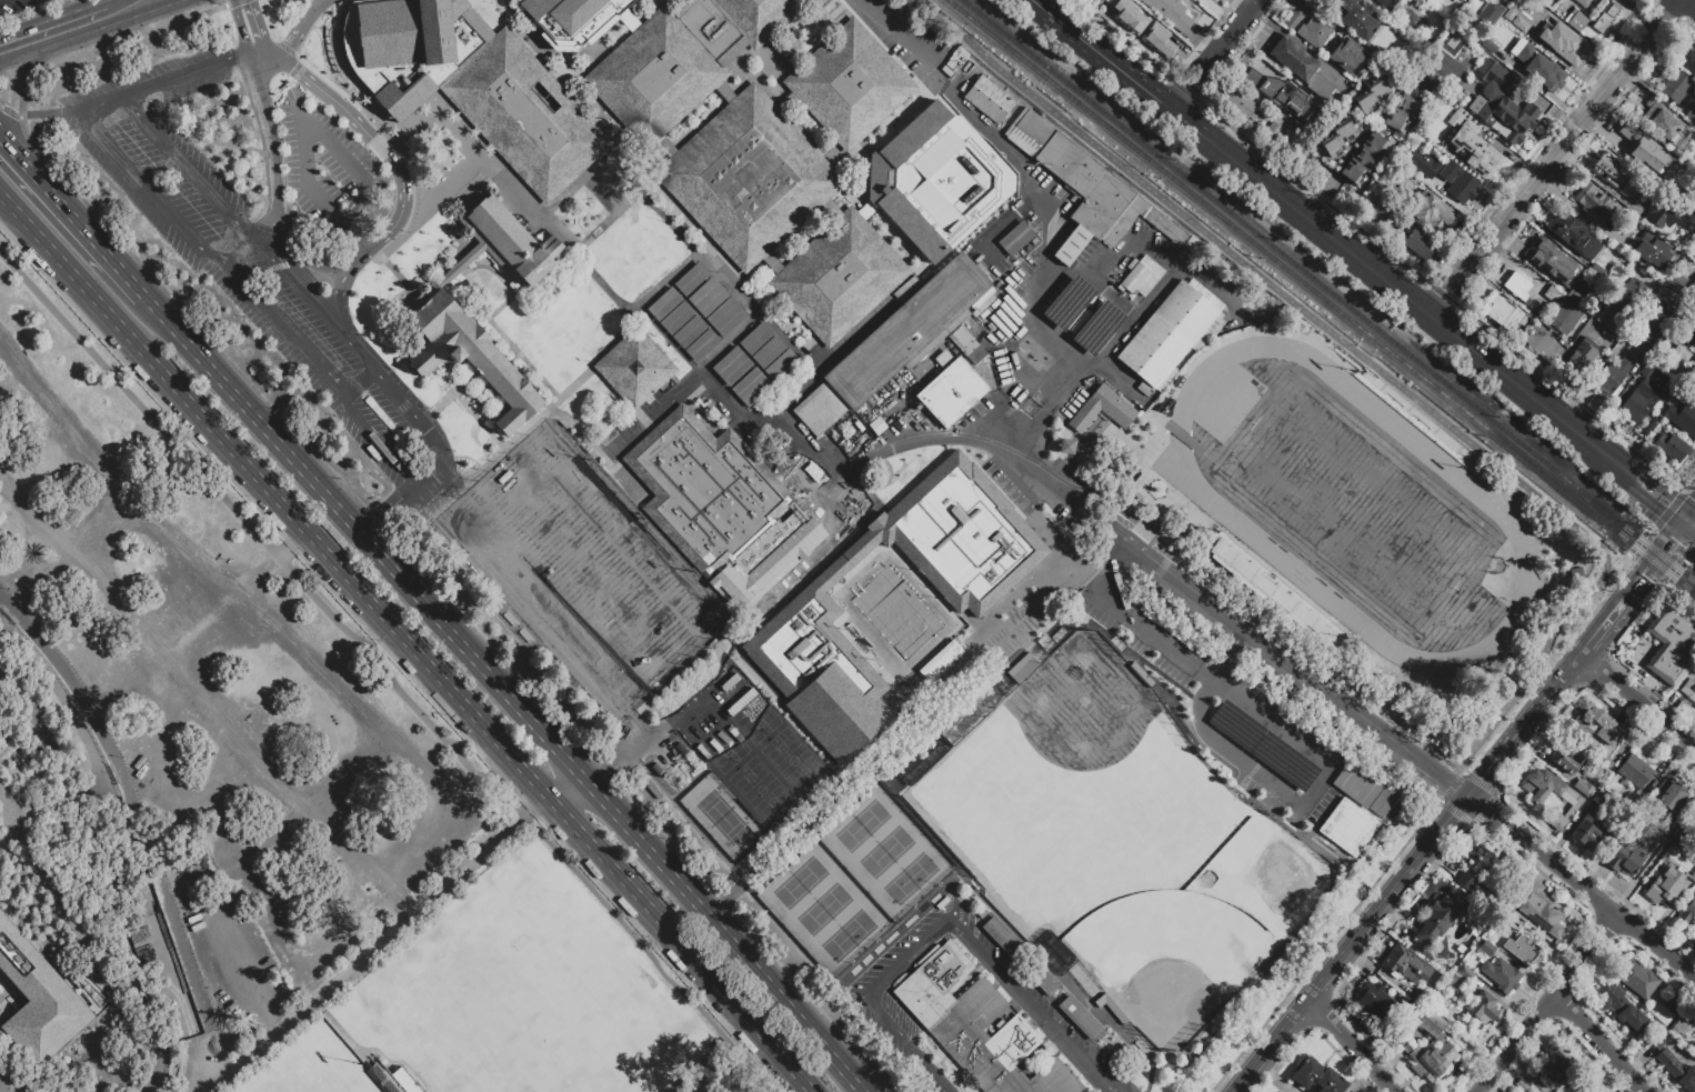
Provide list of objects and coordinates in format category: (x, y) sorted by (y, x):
building: (1395, 0)
road: (233, 2)
traffic signals: (247, 2)
road: (1691, 2)
road: (141, 3)
building: (1378, 3)
building: (1586, 3)
parking lot: (17, 6)
road: (32, 11)
building: (1137, 12)
building: (1170, 12)
building: (1490, 12)
building: (759, 16)
building: (1612, 16)
building: (1356, 17)
building: (1293, 20)
building: (1576, 20)
building: (1522, 21)
building: (566, 24)
road: (254, 27)
road: (238, 29)
road: (66, 30)
road: (300, 30)
building: (712, 31)
building: (1315, 32)
road: (1119, 38)
building: (1564, 39)
road: (904, 42)
road: (110, 46)
building: (409, 46)
building: (1162, 46)
road: (1106, 53)
road: (1216, 53)
building: (1347, 53)
building: (1688, 62)
road: (261, 63)
building: (1297, 63)
road: (248, 66)
building: (1500, 72)
building: (1545, 72)
parking lot: (181, 74)
building: (652, 77)
building: (849, 84)
building: (1677, 86)
road: (14, 89)
road: (1183, 90)
building: (1371, 93)
building: (1280, 94)
building: (987, 99)
building: (1241, 104)
parking lot: (345, 110)
road: (8, 111)
road: (50, 112)
building: (1320, 112)
building: (1402, 112)
building: (1520, 113)
building: (1691, 113)
building: (523, 114)
building: (1661, 121)
road: (98, 129)
building: (1272, 130)
road: (363, 131)
road: (318, 136)
building: (1335, 137)
road: (11, 147)
building: (1644, 152)
road: (275, 153)
building: (1490, 153)
road: (1554, 157)
building: (1364, 158)
building: (1422, 162)
road: (184, 166)
building: (1609, 169)
building: (1071, 172)
building: (748, 178)
building: (935, 180)
building: (1406, 182)
building: (1458, 182)
road: (1313, 193)
road: (1323, 196)
building: (1592, 200)
building: (1373, 206)
building: (1692, 206)
road: (11, 208)
building: (1662, 211)
parking lot: (333, 212)
building: (1431, 212)
building: (1162, 223)
road: (83, 228)
parking lot: (275, 231)
road: (262, 234)
road: (357, 234)
building: (1573, 234)
building: (1014, 238)
building: (502, 243)
building: (1418, 243)
road: (235, 246)
building: (1071, 246)
road: (279, 247)
building: (1651, 251)
building: (1552, 262)
road: (319, 267)
building: (1597, 270)
road: (343, 274)
road: (1041, 275)
road: (1079, 275)
building: (839, 277)
building: (1142, 277)
building: (690, 279)
building: (1693, 282)
building: (1677, 283)
road: (1393, 284)
building: (1517, 287)
building: (1693, 289)
railway: (1327, 290)
road: (1441, 293)
building: (1552, 293)
railway: (1322, 295)
building: (706, 297)
building: (1573, 297)
parking lot: (1062, 299)
building: (1067, 301)
building: (663, 304)
building: (1623, 304)
road: (327, 310)
building: (1502, 312)
building: (1563, 314)
building: (724, 317)
building: (676, 318)
road: (282, 322)
building: (1655, 327)
building: (1096, 328)
building: (914, 330)
building: (688, 331)
building: (1169, 334)
building: (1687, 334)
building: (755, 338)
building: (1538, 342)
building: (701, 345)
road: (1565, 350)
building: (768, 352)
building: (1675, 355)
building: (472, 357)
building: (1581, 359)
building: (729, 363)
building: (633, 365)
building: (780, 367)
road: (1383, 370)
building: (1645, 370)
road: (1594, 372)
road: (11, 374)
road: (357, 375)
building: (741, 377)
building: (1611, 377)
road: (170, 382)
building: (950, 388)
building: (754, 391)
road: (1569, 395)
building: (1641, 400)
park: (1225, 401)
building: (819, 409)
building: (1101, 409)
road: (412, 410)
road: (252, 414)
building: (1416, 420)
building: (1648, 424)
building: (1687, 425)
building: (13, 432)
road: (379, 435)
building: (1064, 445)
building: (1671, 448)
road: (852, 470)
road: (1627, 471)
road: (431, 472)
building: (705, 490)
road: (1689, 491)
road: (1663, 500)
stadium: (1328, 501)
track: (1212, 504)
road: (390, 508)
park: (1353, 508)
road: (1668, 508)
road: (1691, 512)
road: (99, 515)
road: (1154, 518)
traffic signals: (1686, 519)
road: (1691, 522)
road: (1649, 530)
building: (967, 533)
road: (1062, 540)
road: (1636, 542)
road: (1692, 547)
road: (1147, 557)
road: (1686, 557)
road: (270, 559)
road: (1625, 561)
park: (584, 569)
road: (1116, 569)
road: (1676, 571)
road: (1631, 573)
road: (1632, 585)
building: (1281, 593)
road: (1637, 610)
road: (213, 635)
road: (1157, 635)
building: (1671, 644)
road: (469, 652)
building: (830, 652)
road: (1601, 653)
road: (1232, 655)
building: (940, 661)
building: (1021, 667)
road: (433, 670)
road: (383, 674)
road: (1315, 680)
road: (1553, 684)
building: (1689, 687)
parking lot: (215, 699)
road: (1636, 700)
parking lot: (1240, 703)
road: (1198, 704)
park: (1081, 707)
park: (746, 712)
road: (1273, 723)
building: (1235, 725)
building: (1599, 725)
road: (900, 729)
road: (1513, 735)
park: (716, 741)
building: (1565, 755)
road: (616, 757)
building: (1283, 761)
park: (793, 762)
building: (1634, 771)
road: (1482, 774)
building: (1355, 782)
road: (1272, 783)
road: (563, 784)
building: (1582, 787)
park: (762, 790)
building: (1671, 791)
park: (994, 794)
building: (1598, 797)
road: (311, 799)
building: (1574, 800)
building: (1381, 801)
road: (299, 802)
park: (724, 821)
road: (137, 822)
building: (1346, 825)
building: (1666, 825)
building: (1694, 826)
park: (863, 830)
building: (1694, 830)
building: (1586, 832)
park: (1126, 836)
building: (64, 844)
park: (883, 853)
park: (889, 856)
building: (1624, 859)
road: (1653, 861)
building: (1473, 865)
park: (1251, 873)
building: (1692, 878)
road: (382, 879)
park: (913, 881)
road: (1579, 884)
park: (800, 885)
building: (1659, 890)
park: (823, 908)
building: (1541, 910)
park: (825, 912)
building: (1686, 912)
building: (982, 913)
building: (1440, 916)
building: (1506, 920)
road: (719, 931)
park: (850, 936)
building: (1004, 939)
road: (374, 942)
road: (1348, 942)
road: (678, 944)
building: (1486, 948)
building: (1462, 949)
building: (1522, 950)
road: (228, 953)
park: (1166, 956)
building: (1404, 963)
building: (1464, 972)
building: (1446, 974)
building: (1501, 974)
building: (1637, 979)
building: (1044, 980)
building: (1454, 984)
building: (1418, 996)
building: (1375, 998)
road: (869, 1001)
building: (1674, 1002)
building: (34, 1003)
road: (1547, 1003)
building: (167, 1005)
road: (1026, 1005)
building: (1622, 1006)
park: (533, 1008)
building: (1482, 1008)
building: (1406, 1014)
building: (1080, 1016)
building: (975, 1025)
building: (1681, 1026)
road: (1350, 1043)
road: (1598, 1043)
building: (1430, 1050)
building: (1694, 1051)
building: (1555, 1063)
stadium: (318, 1066)
building: (1675, 1066)
park: (320, 1073)
building: (1317, 1076)
building: (383, 1079)
building: (1522, 1085)
building: (1582, 1088)

